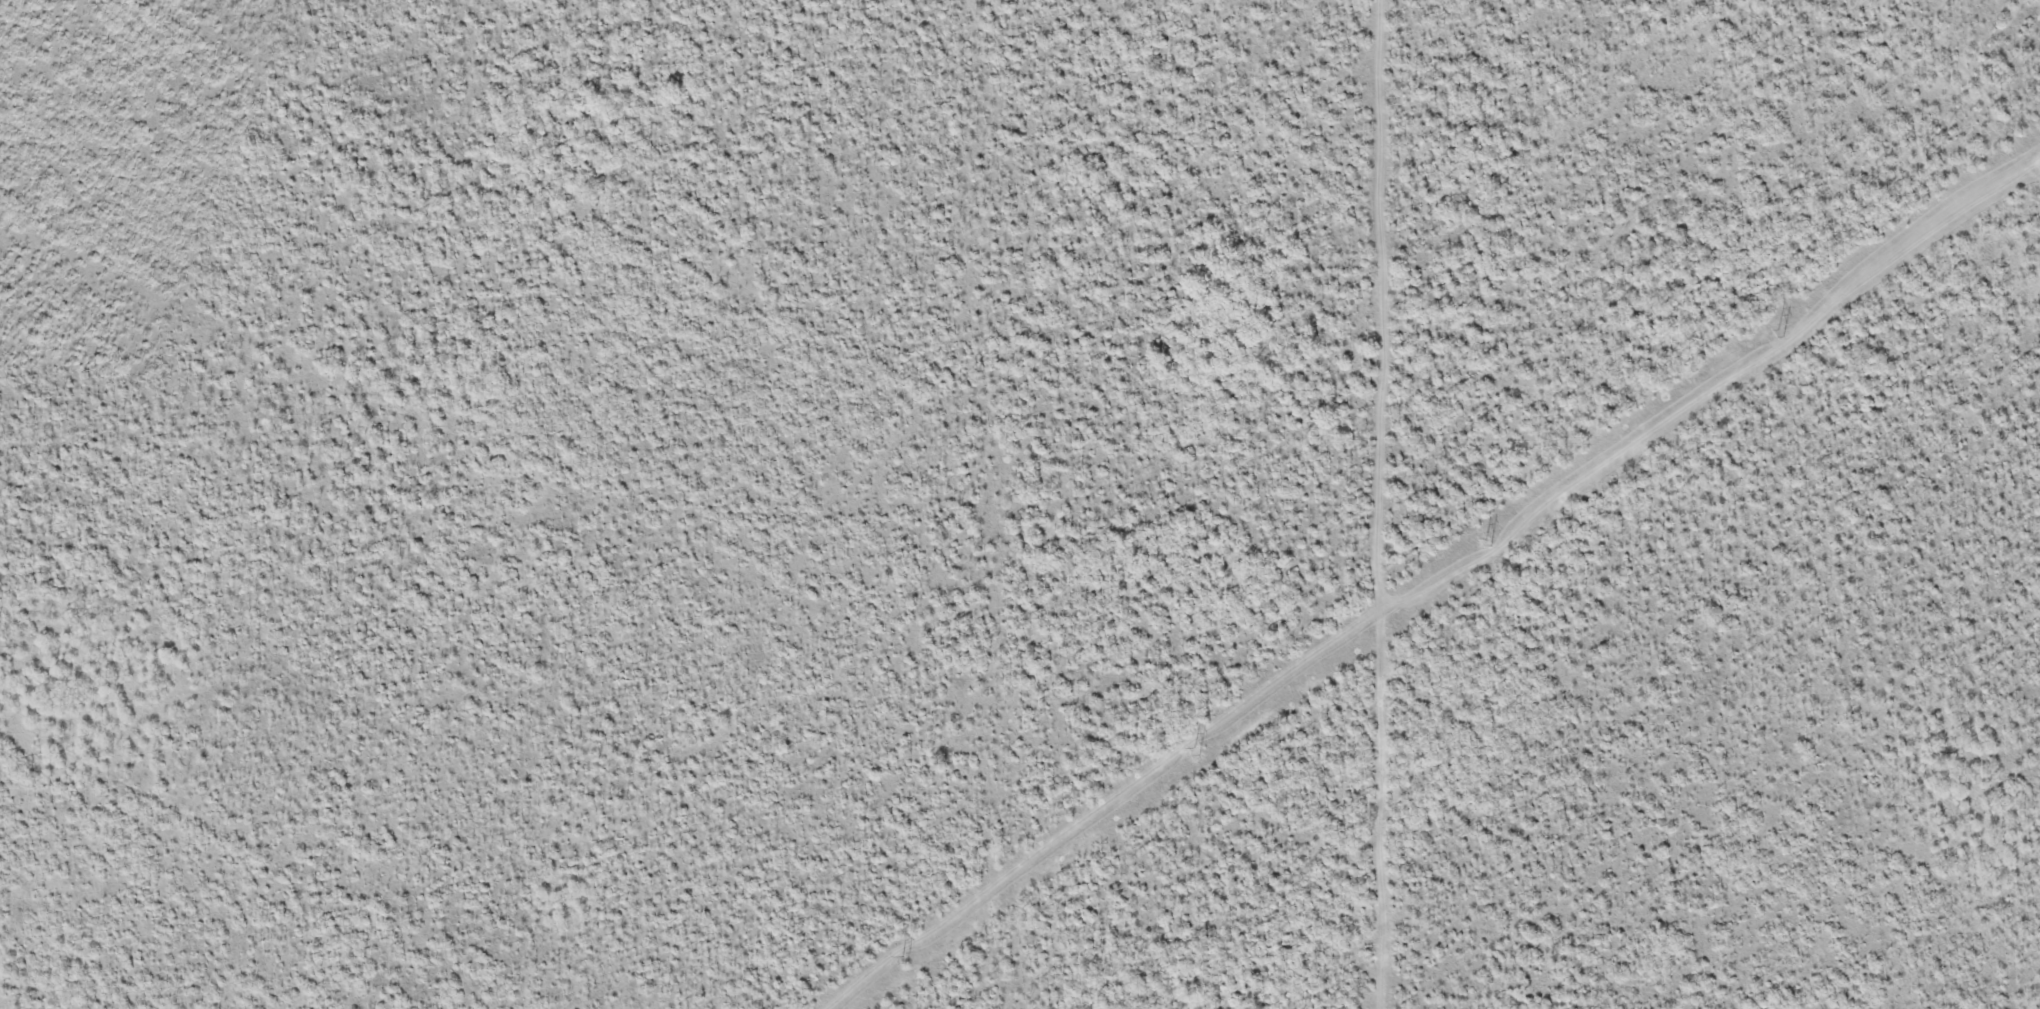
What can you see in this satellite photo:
power tower: (1782, 332)
power tower: (1490, 541)
power tower: (1198, 751)
power tower: (906, 959)

